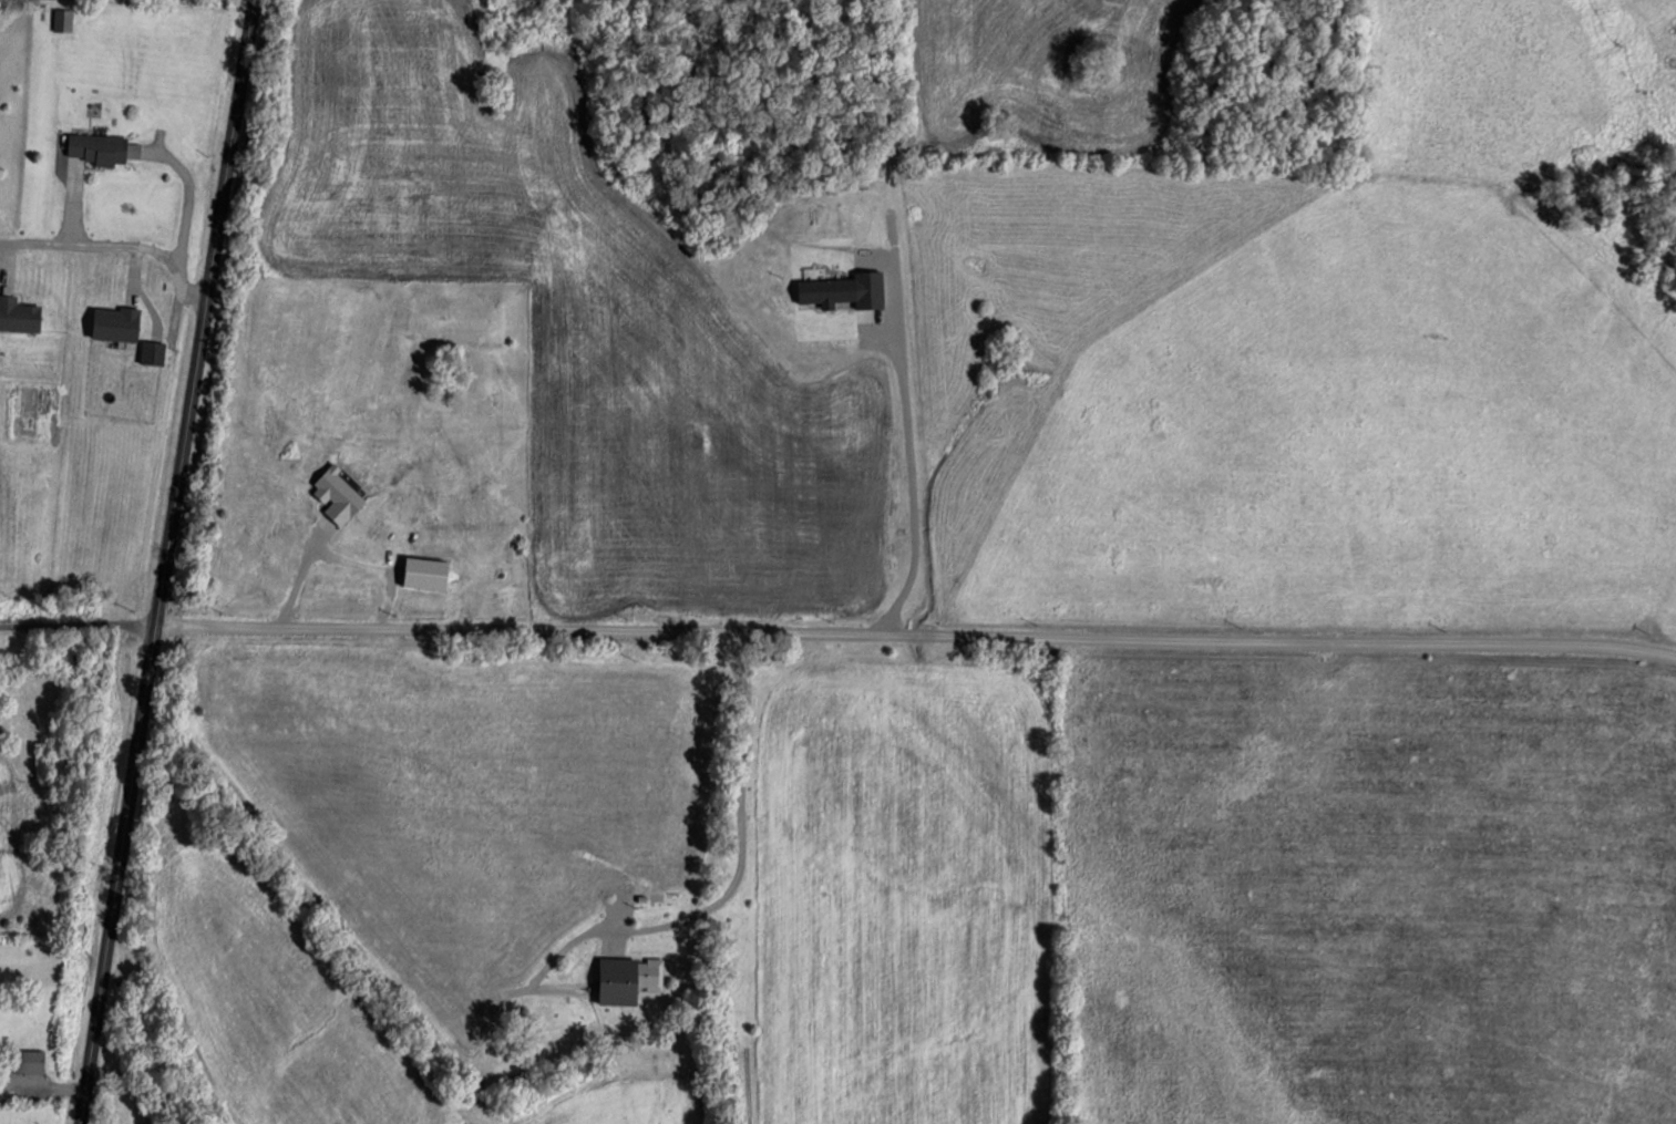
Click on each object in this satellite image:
building: (101, 149)
road: (115, 243)
building: (7, 272)
building: (18, 313)
road: (162, 561)
road: (75, 627)
road: (914, 663)
building: (617, 981)
building: (29, 1061)

